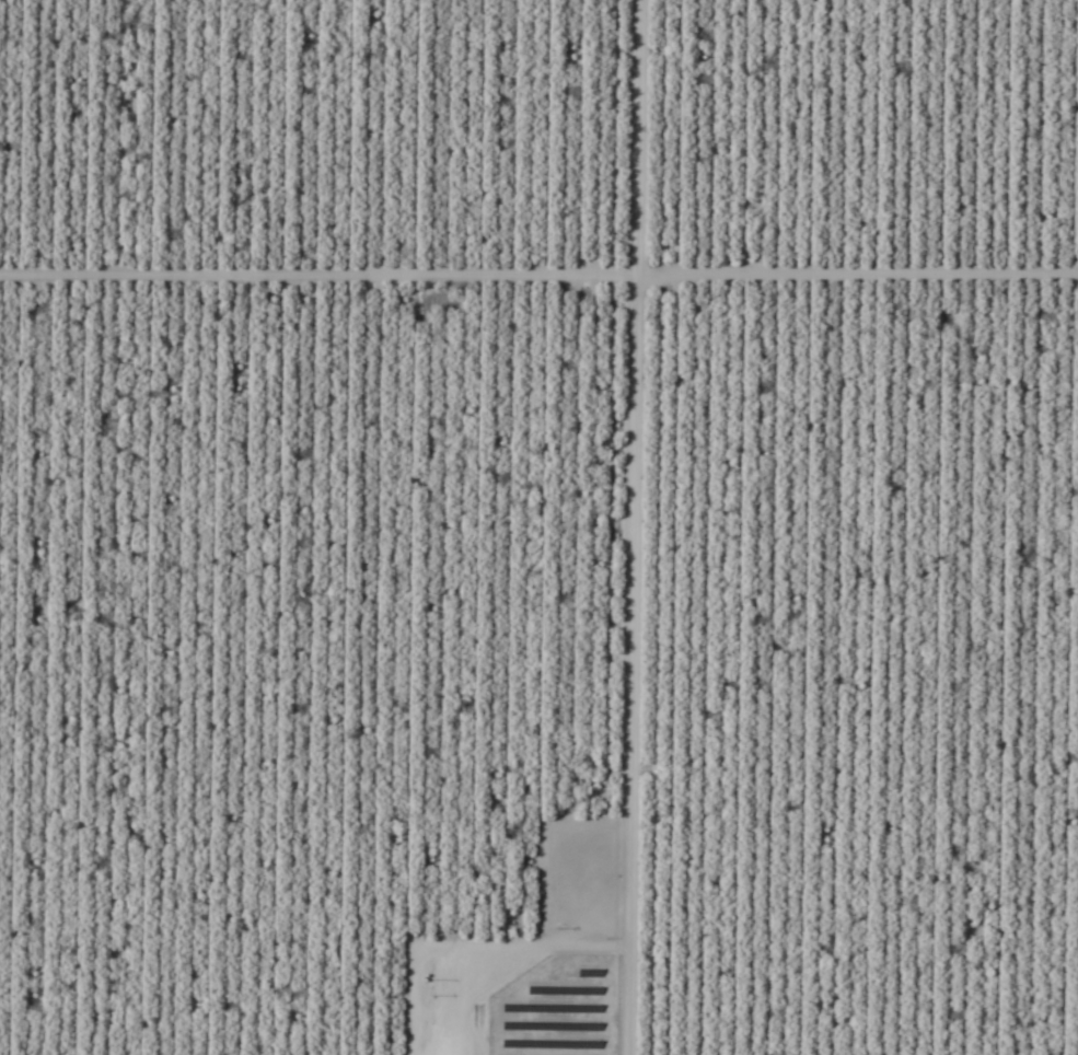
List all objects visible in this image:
crop: (538, 527)
building: (576, 883)
road: (926, 985)
building: (577, 995)

